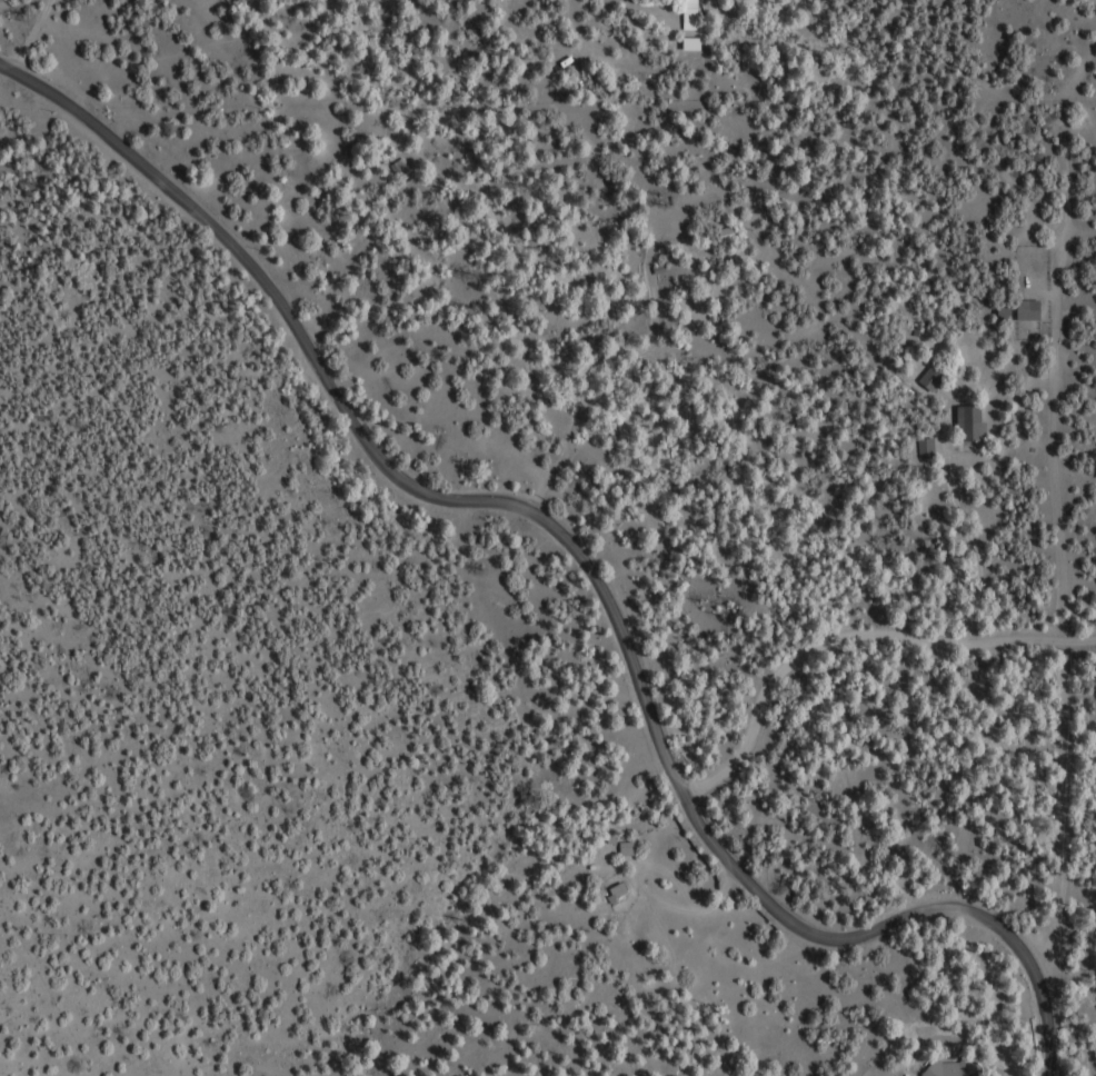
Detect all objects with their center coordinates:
road: (196, 209)
road: (1080, 227)
building: (1034, 311)
building: (937, 381)
building: (976, 426)
building: (933, 449)
road: (1055, 591)
road: (851, 636)
road: (687, 798)
building: (632, 849)
building: (624, 890)
building: (957, 1069)

